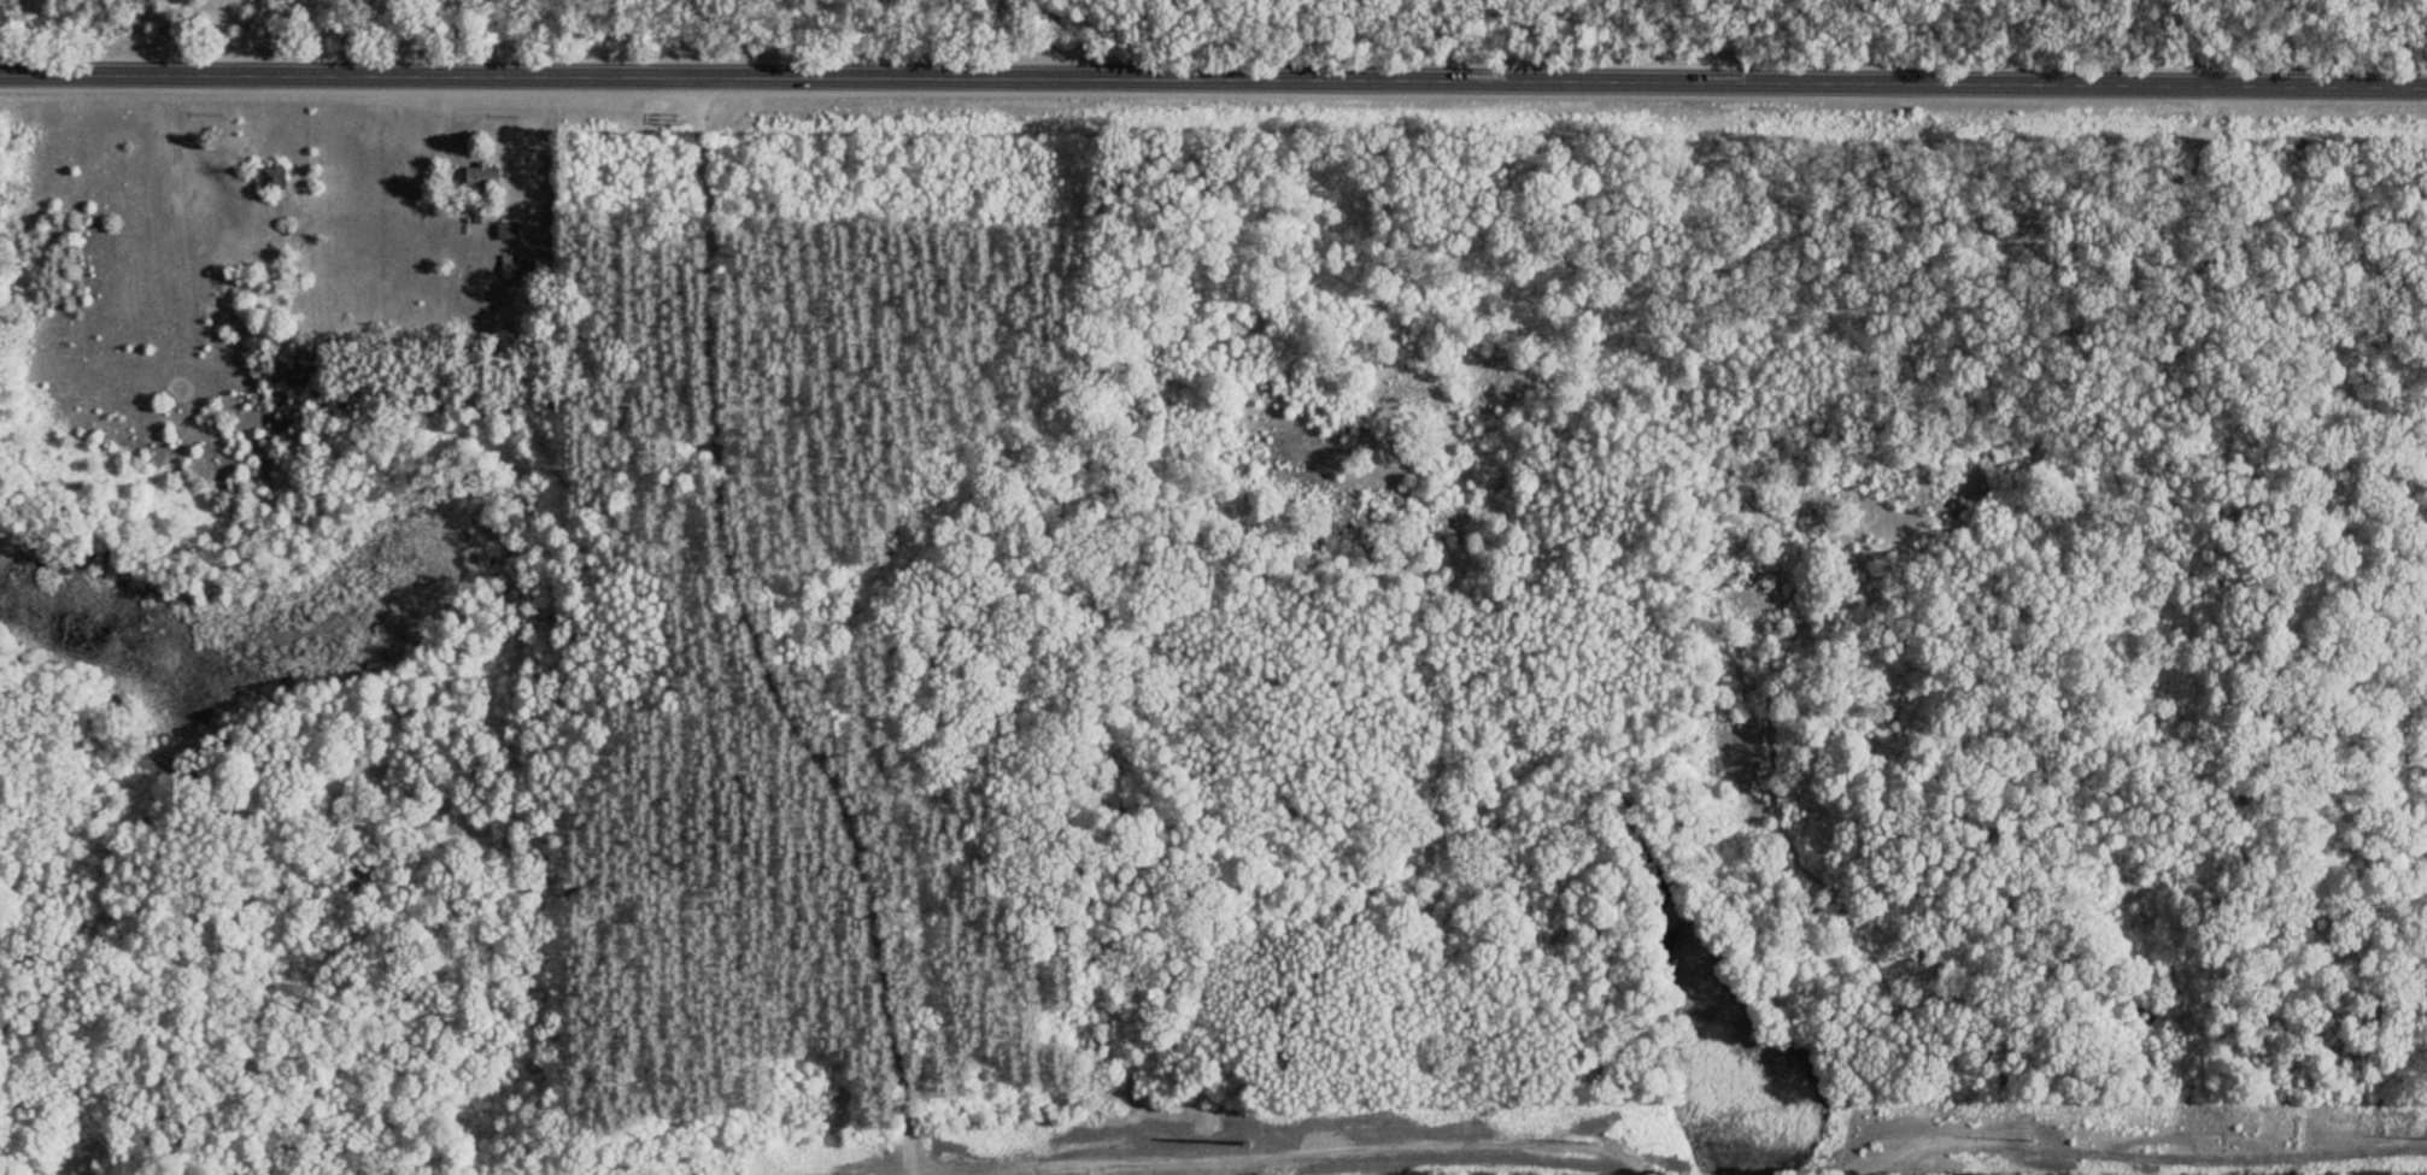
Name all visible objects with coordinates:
road: (2247, 52)
road: (1104, 81)
road: (2317, 90)
road: (2200, 129)
road: (2181, 148)
parking lot: (2182, 149)
building: (480, 177)
building: (272, 180)
building: (506, 233)
building: (517, 270)
road: (1812, 623)
road: (760, 627)
road: (842, 1168)

